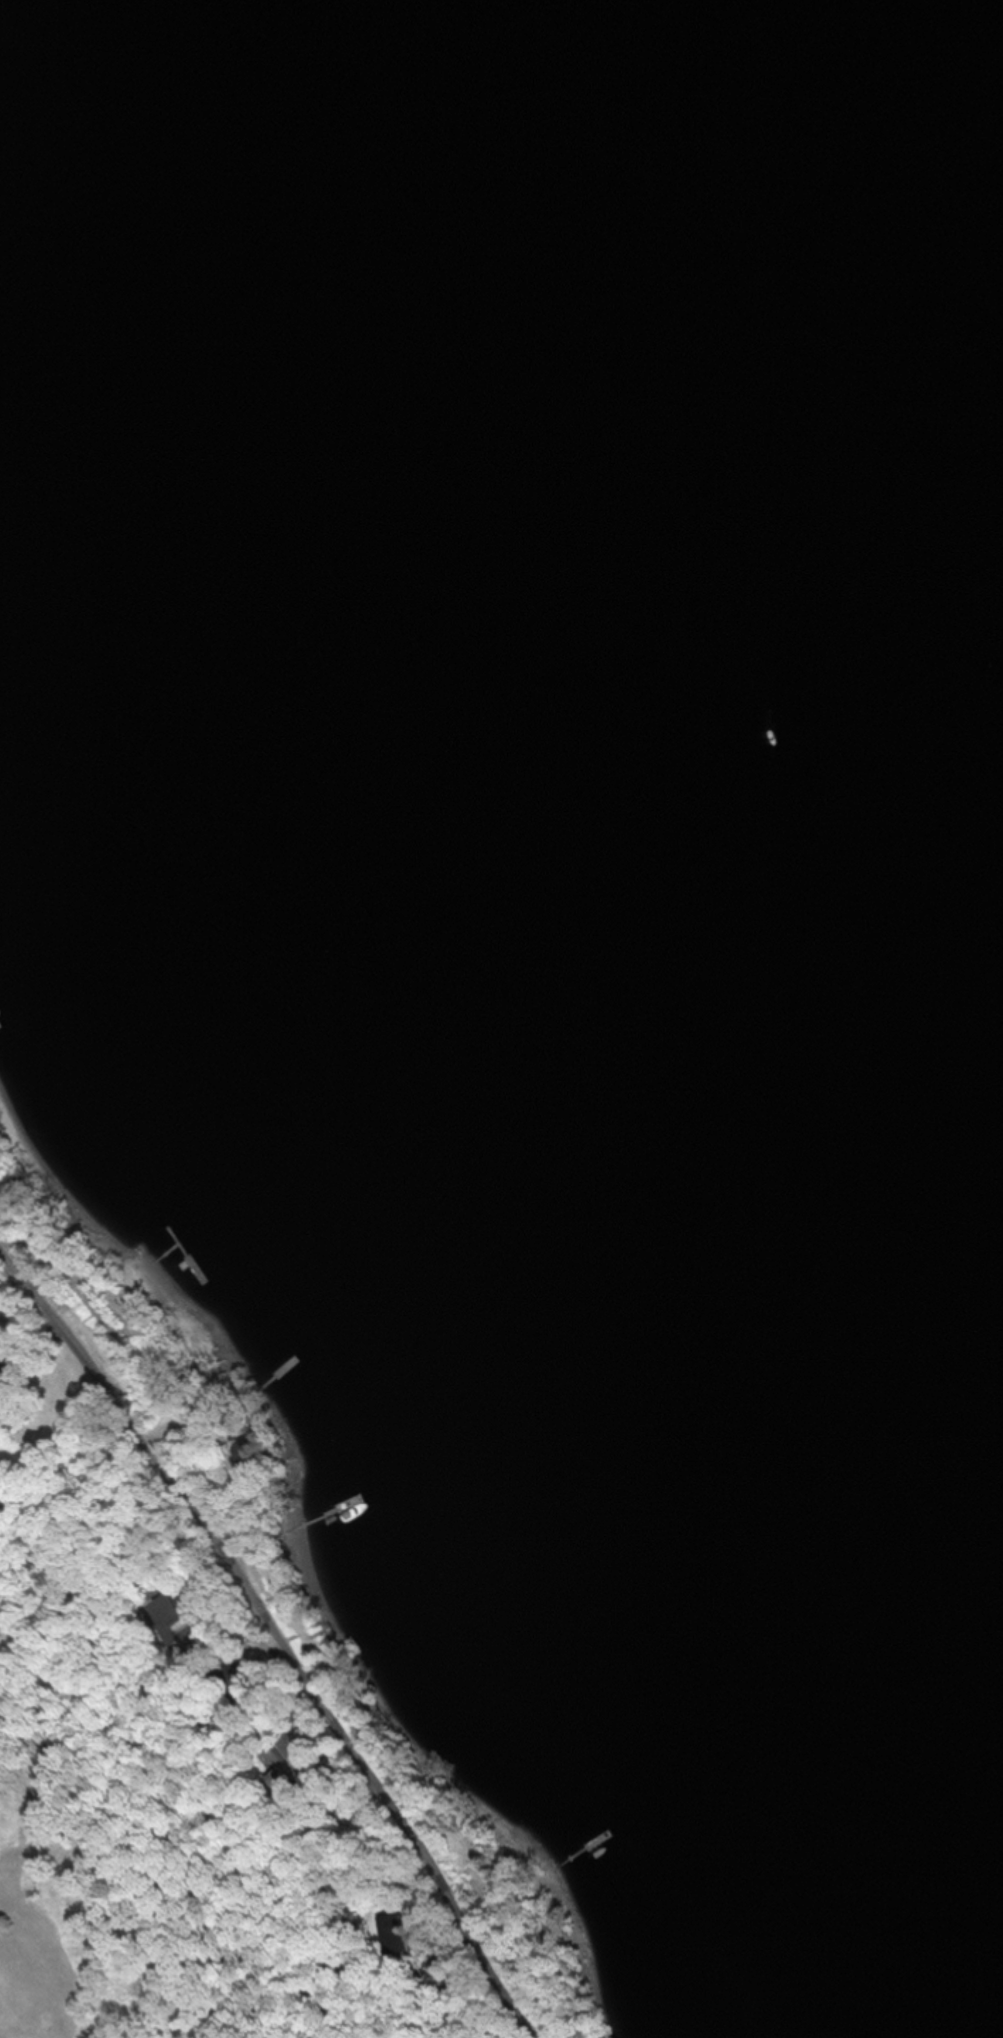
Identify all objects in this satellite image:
river: (923, 395)
building: (13, 1405)
building: (250, 1457)
road: (278, 1635)
building: (397, 1930)

